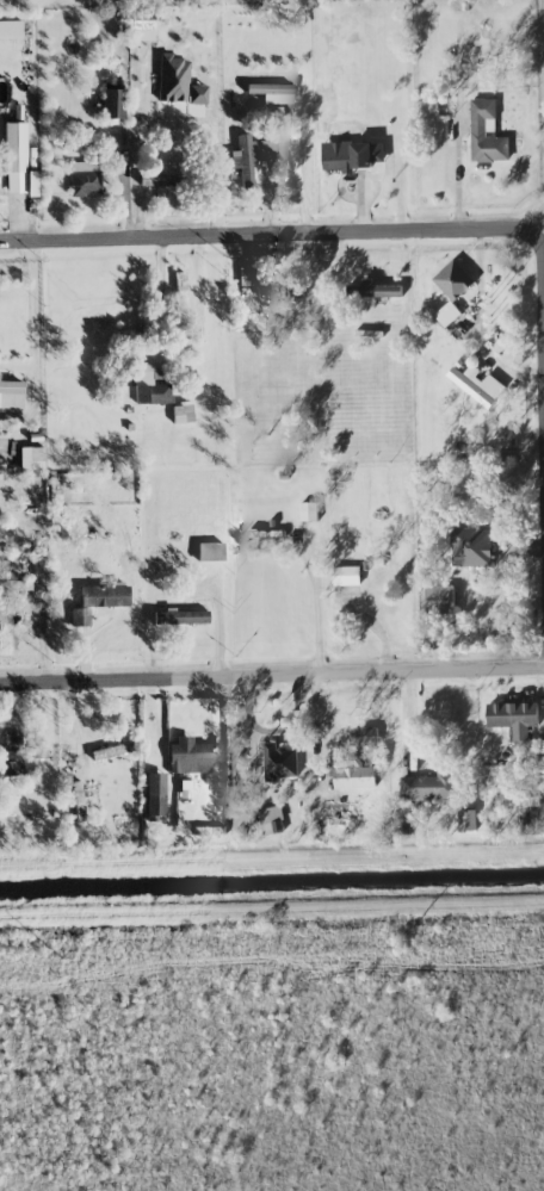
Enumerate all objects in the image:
park: (147, 1)
building: (141, 20)
building: (10, 29)
building: (177, 81)
building: (271, 92)
building: (486, 134)
building: (14, 147)
building: (352, 155)
building: (246, 157)
building: (84, 178)
road: (297, 179)
building: (160, 180)
road: (458, 181)
road: (266, 235)
building: (453, 280)
building: (373, 290)
road: (540, 303)
building: (447, 314)
road: (482, 322)
road: (37, 349)
building: (477, 386)
building: (143, 389)
building: (11, 393)
building: (181, 412)
building: (309, 511)
building: (471, 547)
building: (210, 552)
building: (346, 576)
building: (2, 581)
building: (104, 595)
building: (440, 600)
road: (319, 606)
building: (79, 616)
building: (180, 616)
road: (272, 676)
building: (514, 718)
building: (365, 737)
building: (112, 750)
building: (12, 756)
building: (187, 756)
building: (279, 762)
road: (284, 770)
building: (353, 775)
building: (426, 787)
building: (155, 794)
building: (515, 799)
building: (338, 811)
building: (272, 820)
building: (466, 820)
power tower: (410, 947)
power tower: (81, 957)

